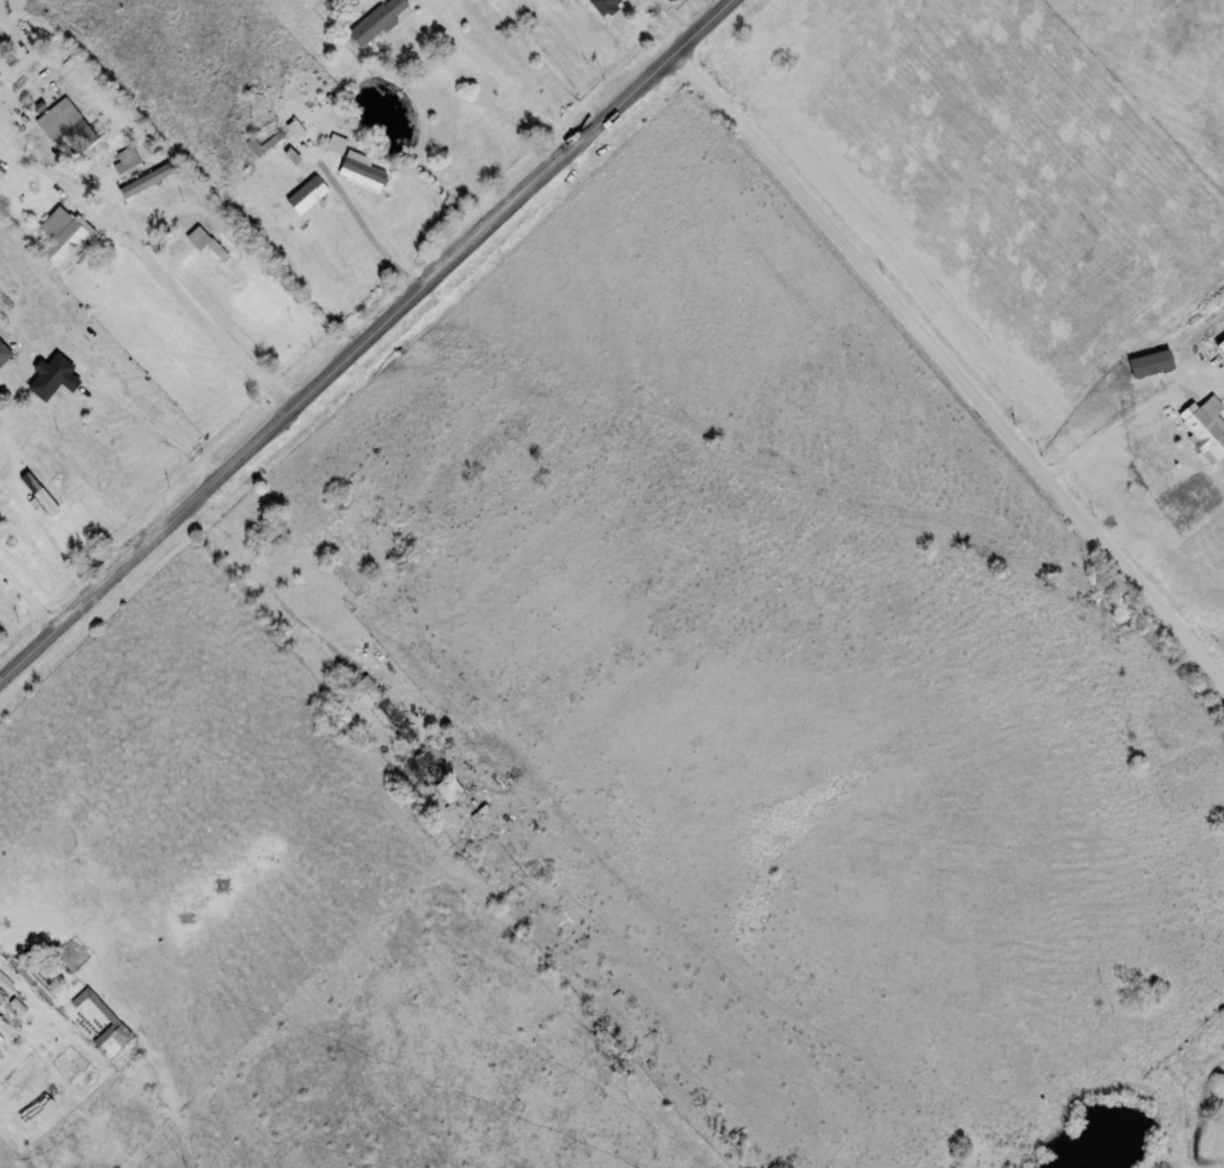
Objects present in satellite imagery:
building: (601, 5)
road: (677, 18)
building: (376, 20)
road: (558, 59)
road: (496, 75)
building: (65, 129)
building: (135, 171)
building: (305, 194)
road: (371, 222)
building: (63, 236)
building: (208, 253)
road: (192, 305)
road: (367, 346)
road: (949, 368)
road: (1123, 425)
building: (1205, 431)
road: (161, 436)
road: (52, 537)
road: (276, 598)
road: (29, 601)
building: (395, 720)
building: (426, 762)
building: (446, 787)
building: (61, 1005)

